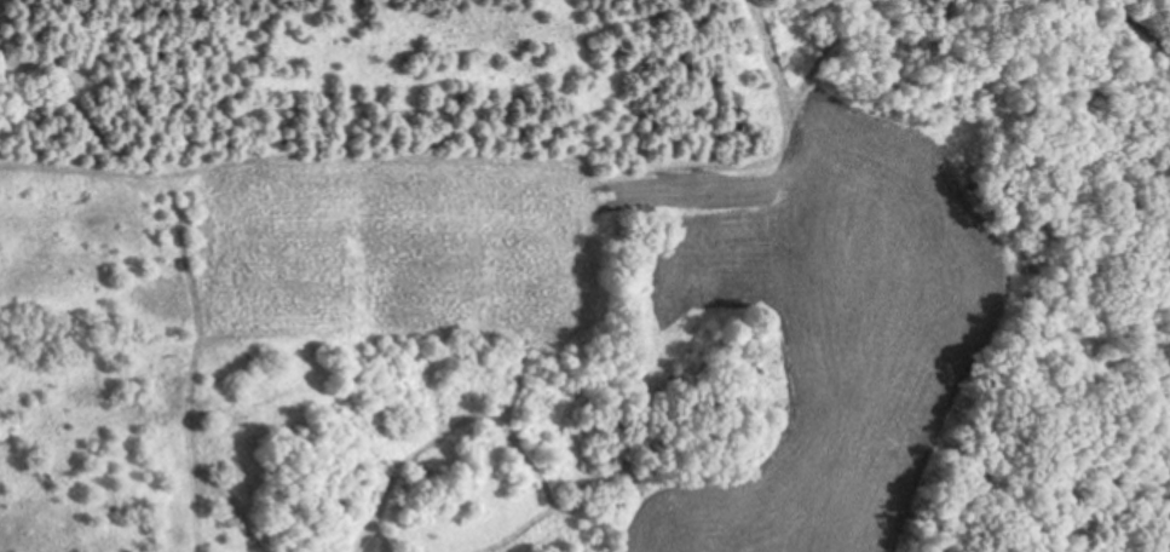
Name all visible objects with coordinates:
crop: (402, 248)
crop: (829, 321)

